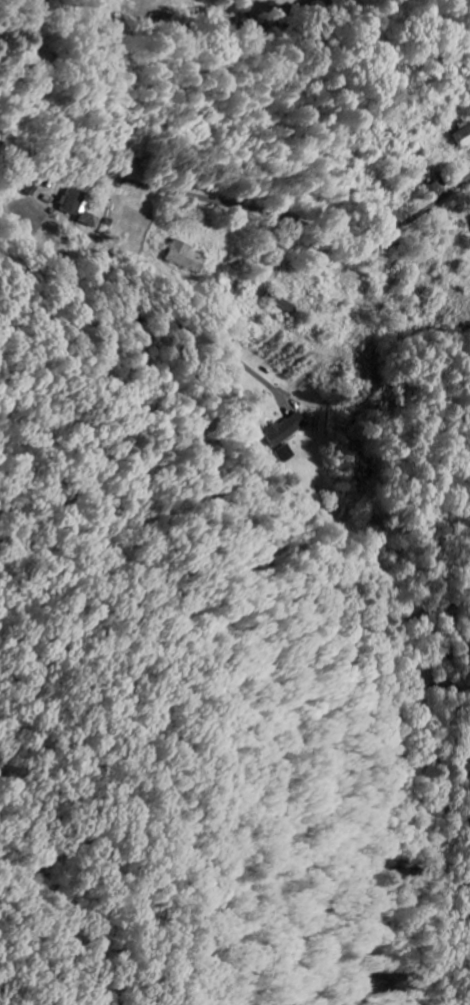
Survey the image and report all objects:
building: (456, 136)
road: (245, 205)
building: (76, 207)
building: (467, 221)
road: (44, 251)
building: (181, 257)
road: (177, 319)
building: (281, 429)

